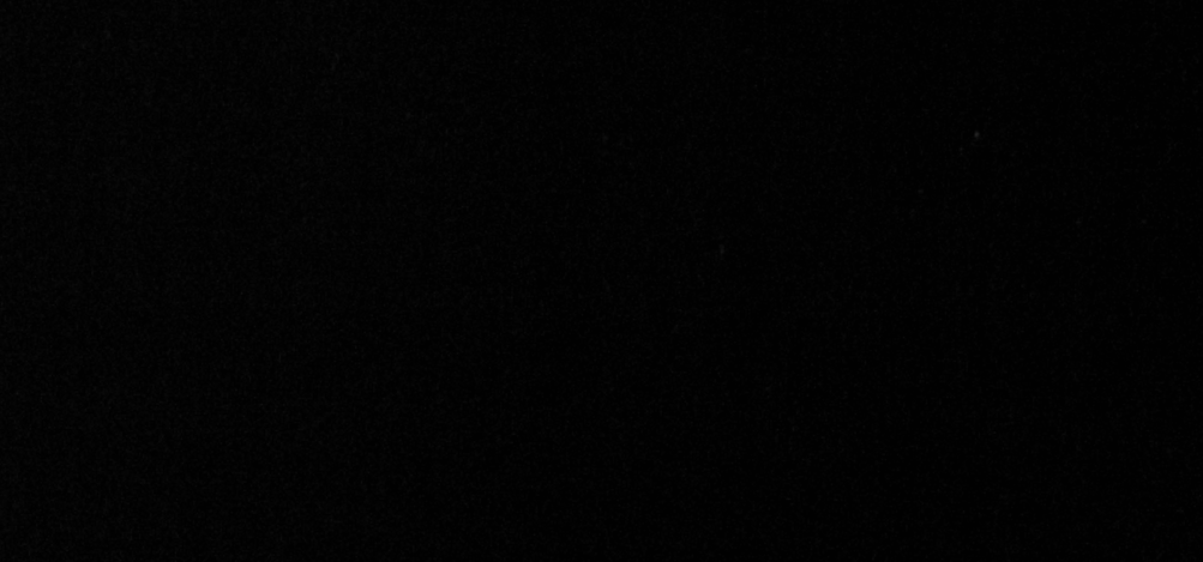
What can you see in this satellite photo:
river: (1094, 30)

